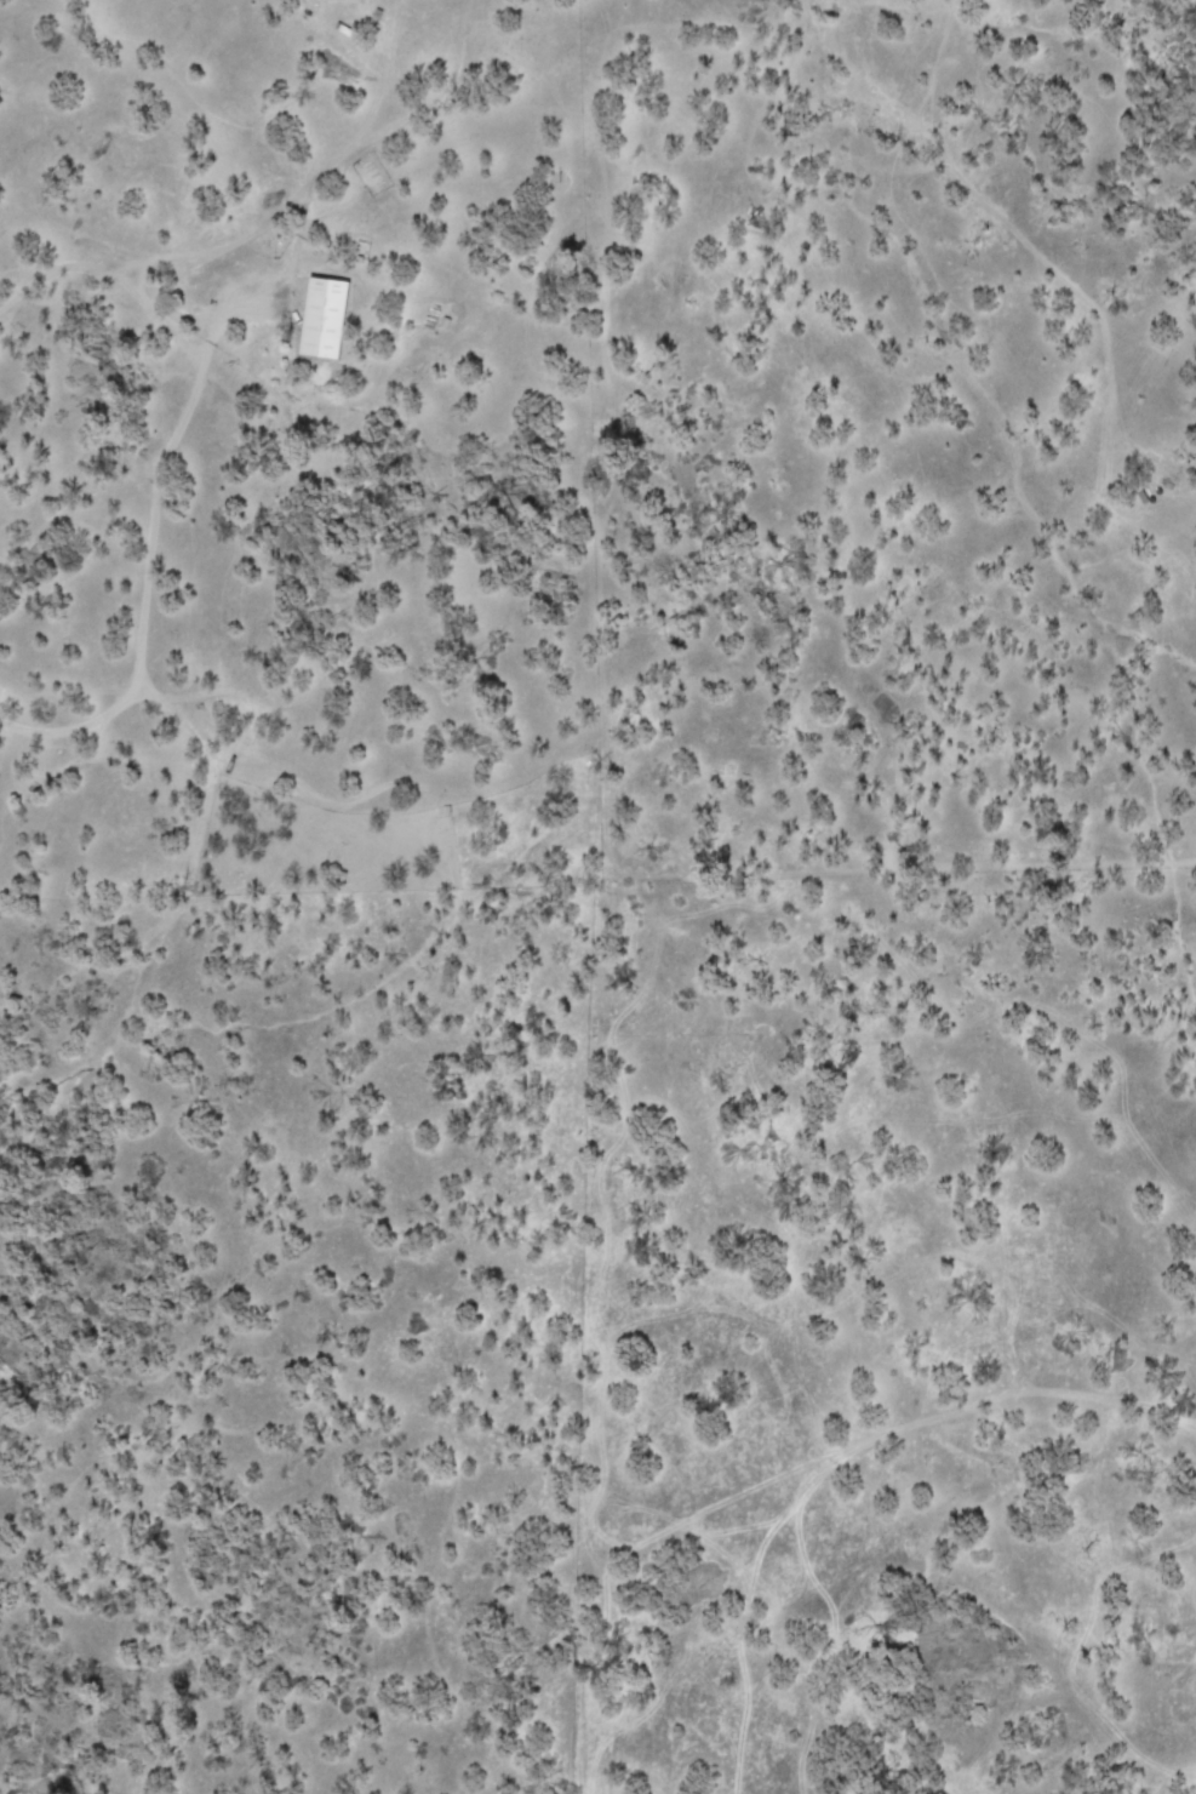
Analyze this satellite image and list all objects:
road: (110, 270)
building: (330, 318)
road: (150, 555)

